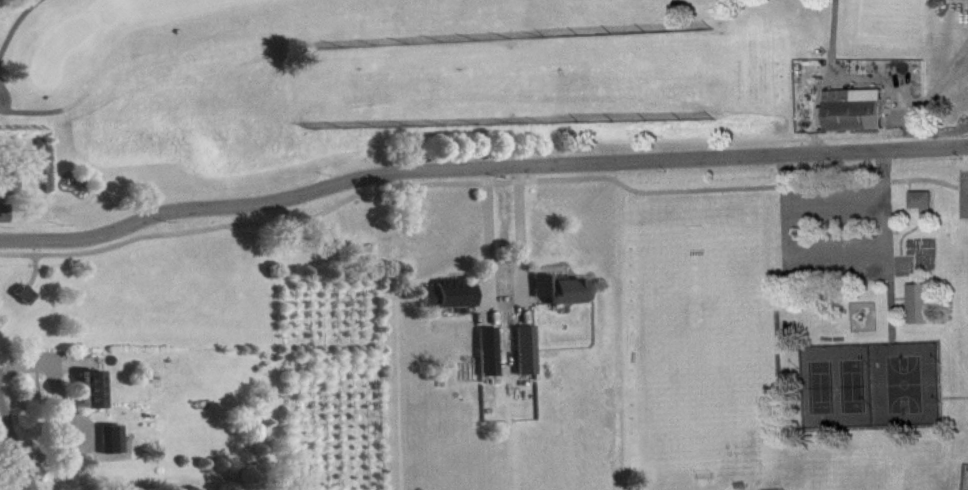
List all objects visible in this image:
park: (63, 58)
park: (438, 86)
building: (856, 118)
road: (479, 169)
building: (10, 193)
parking lot: (963, 195)
road: (833, 203)
building: (924, 207)
building: (5, 222)
road: (516, 235)
parking lot: (836, 235)
road: (484, 236)
road: (835, 250)
building: (566, 297)
building: (27, 302)
building: (452, 303)
building: (924, 311)
park: (796, 328)
building: (528, 344)
building: (491, 346)
building: (95, 397)
building: (113, 447)
road: (15, 449)
road: (7, 472)

